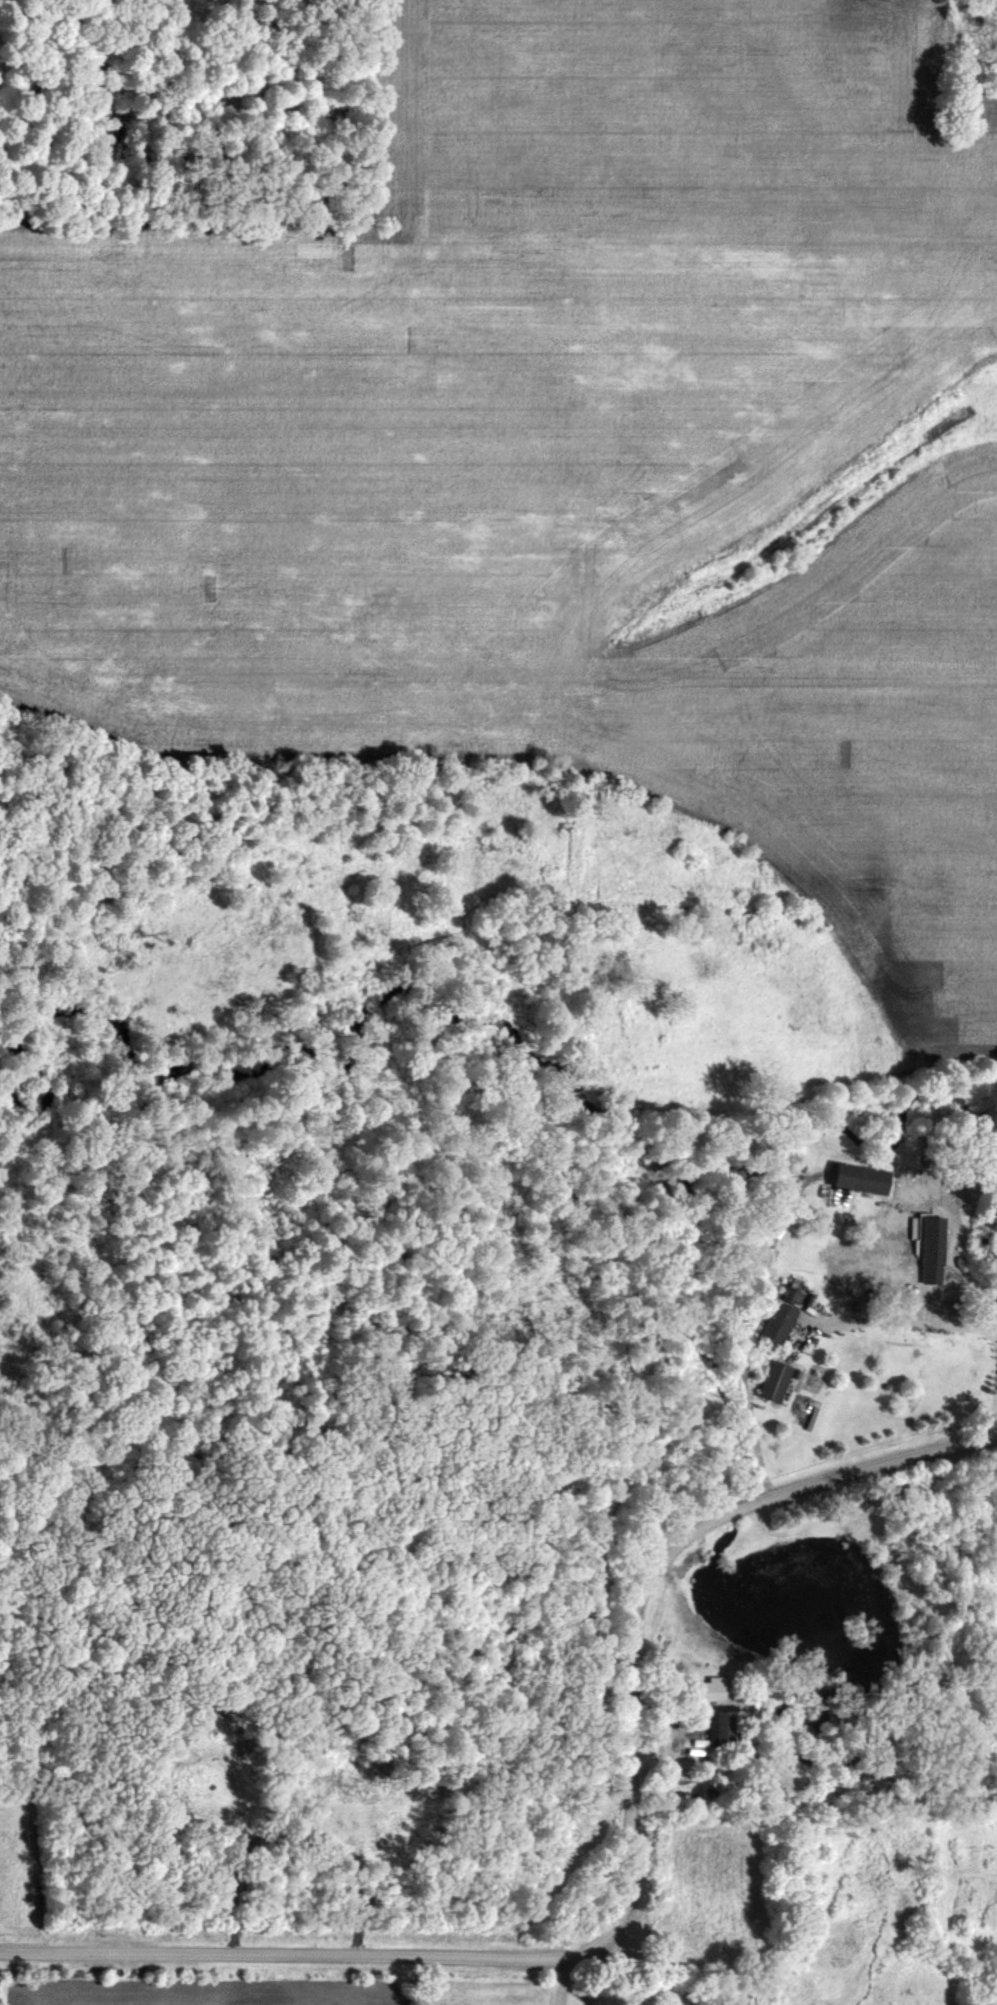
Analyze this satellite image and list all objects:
building: (848, 1183)
building: (864, 1271)
building: (772, 1321)
road: (948, 1323)
building: (768, 1382)
building: (717, 1728)
road: (634, 1874)
road: (558, 1983)

